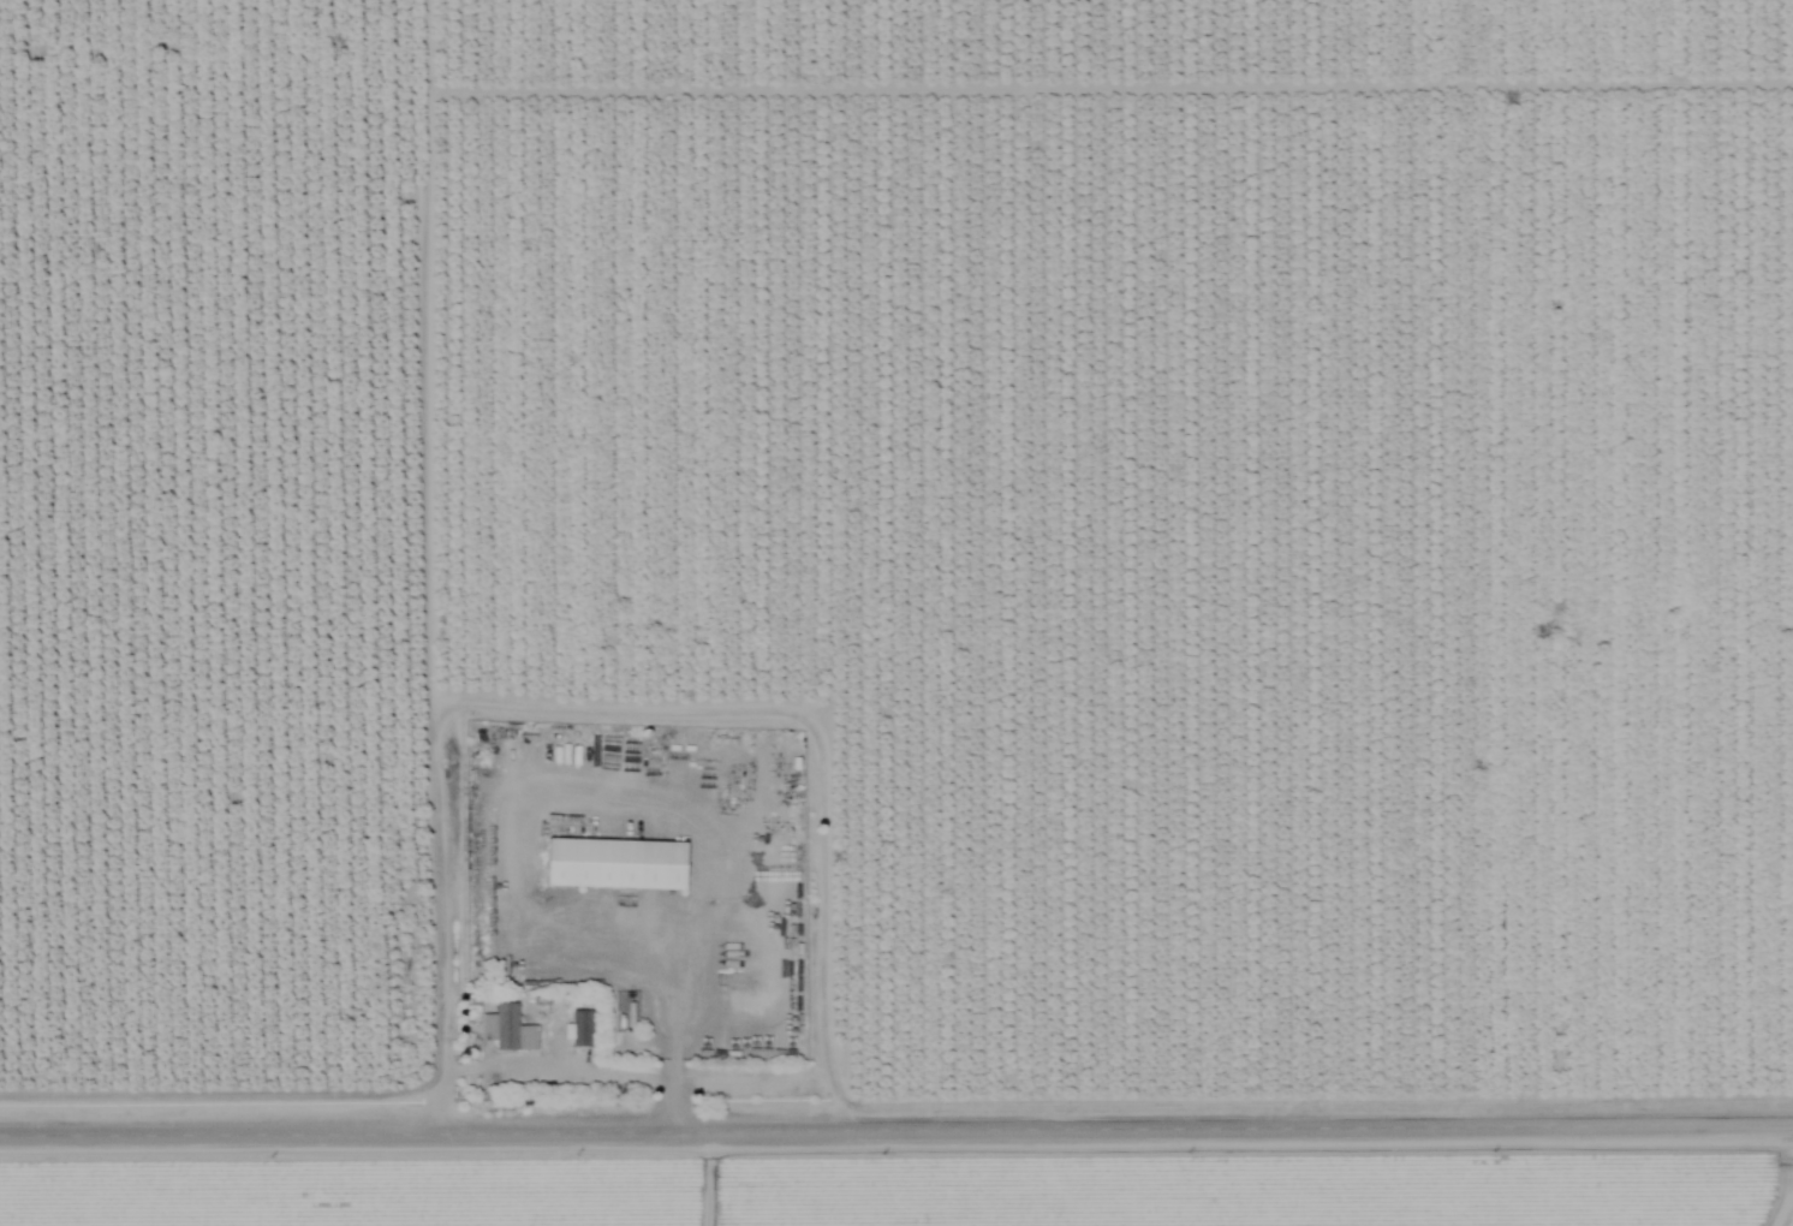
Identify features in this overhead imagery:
road: (423, 351)
road: (815, 732)
building: (606, 861)
road: (435, 916)
building: (573, 1025)
building: (502, 1026)
road: (668, 1029)
road: (896, 1120)
crop: (890, 1196)

